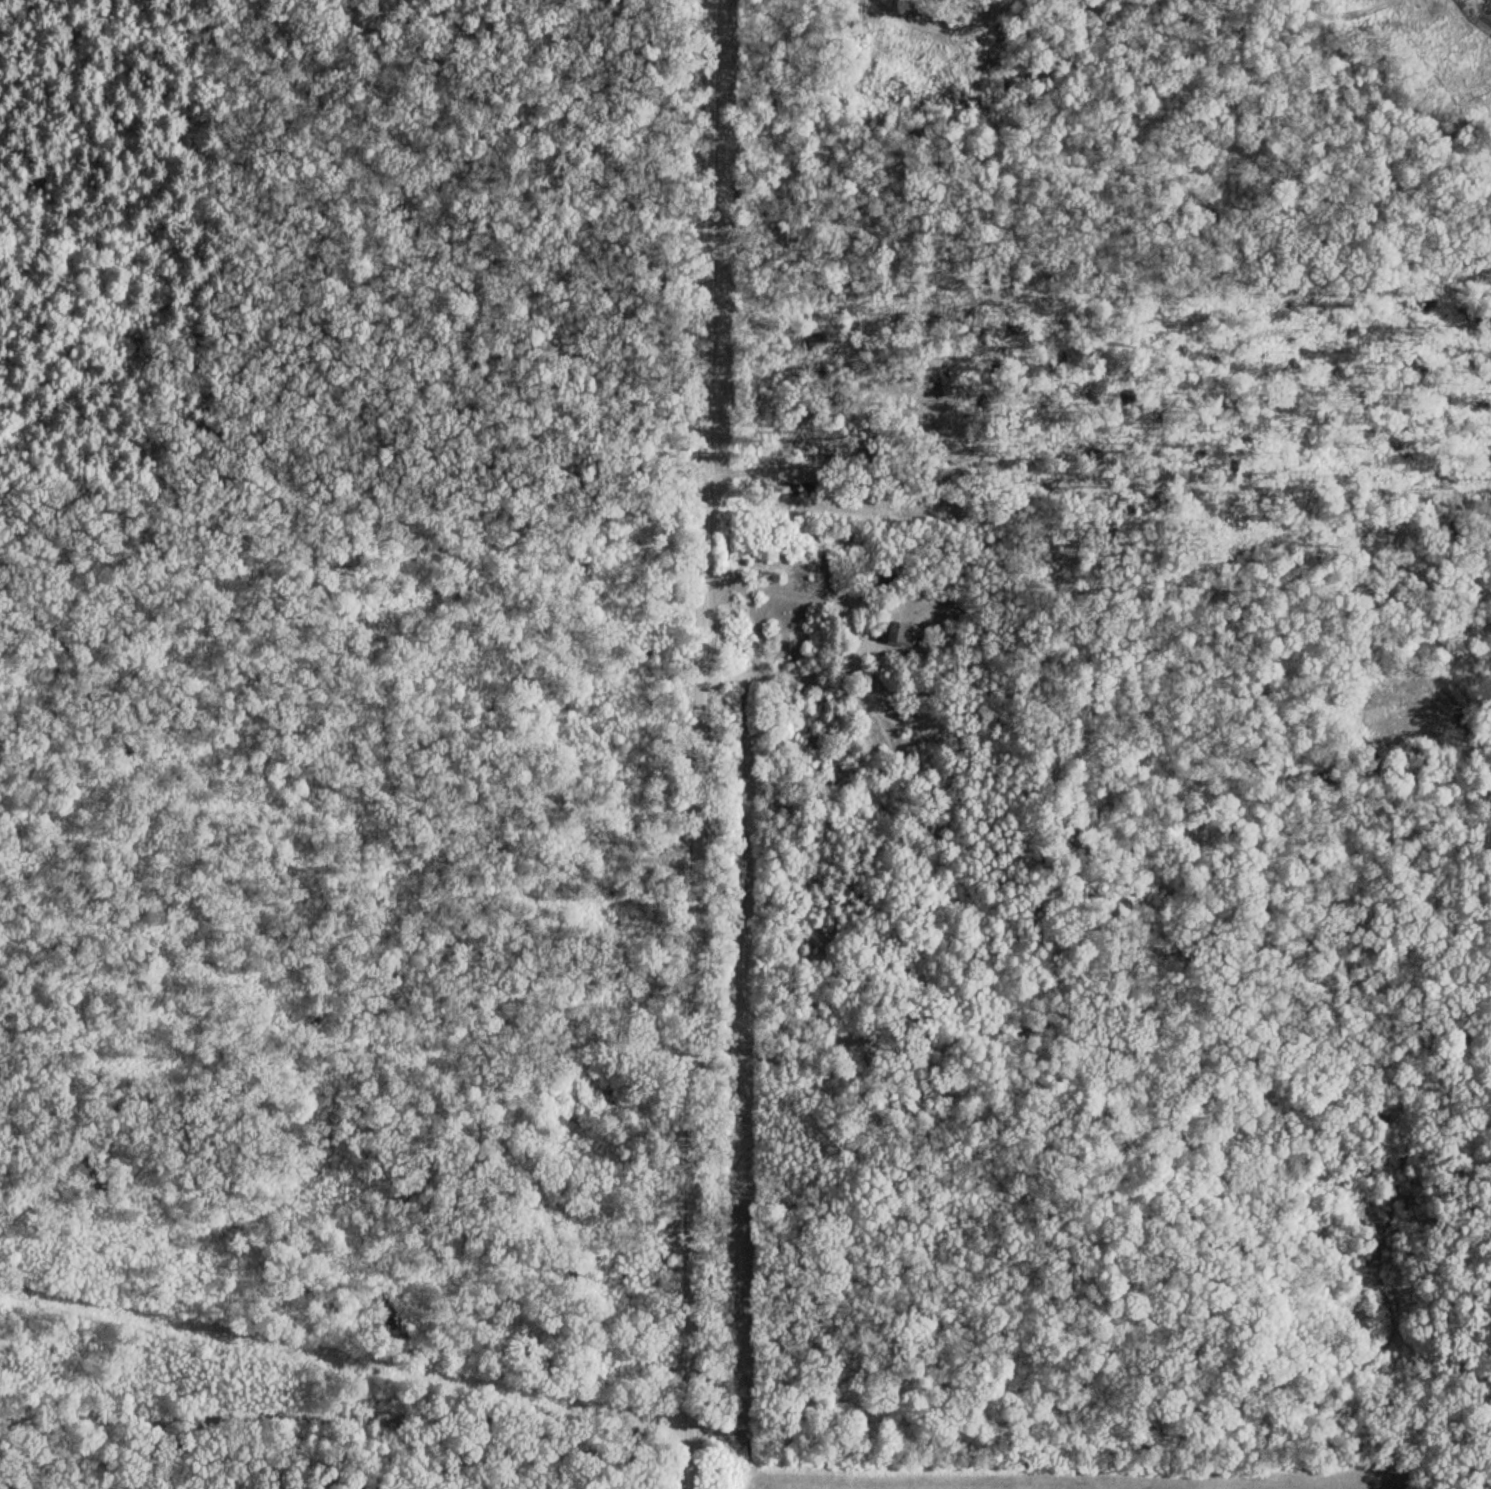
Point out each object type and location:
road: (403, 229)
building: (898, 632)
road: (685, 744)
road: (336, 1417)

